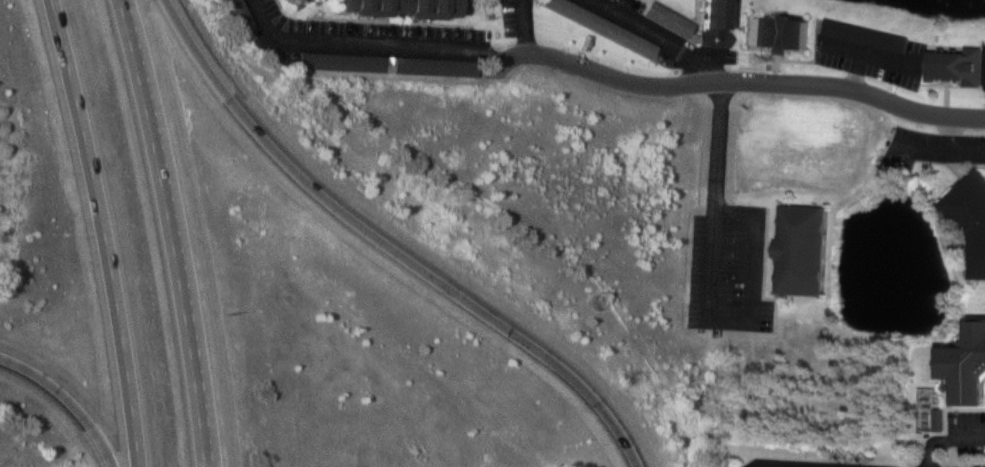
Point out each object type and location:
building: (286, 1)
building: (400, 7)
building: (240, 15)
building: (665, 17)
building: (712, 22)
road: (526, 24)
building: (600, 26)
building: (776, 29)
road: (661, 34)
building: (864, 34)
road: (375, 38)
building: (958, 60)
building: (387, 63)
road: (744, 82)
road: (948, 135)
parking lot: (939, 147)
road: (936, 151)
road: (953, 165)
building: (969, 217)
road: (104, 231)
road: (174, 231)
road: (390, 245)
road: (763, 247)
building: (774, 247)
road: (775, 248)
building: (800, 249)
parking lot: (732, 270)
road: (762, 274)
fountain: (906, 285)
road: (709, 294)
building: (965, 364)
road: (69, 397)
road: (964, 408)
road: (944, 430)
parking lot: (970, 434)
road: (946, 439)
road: (767, 465)

